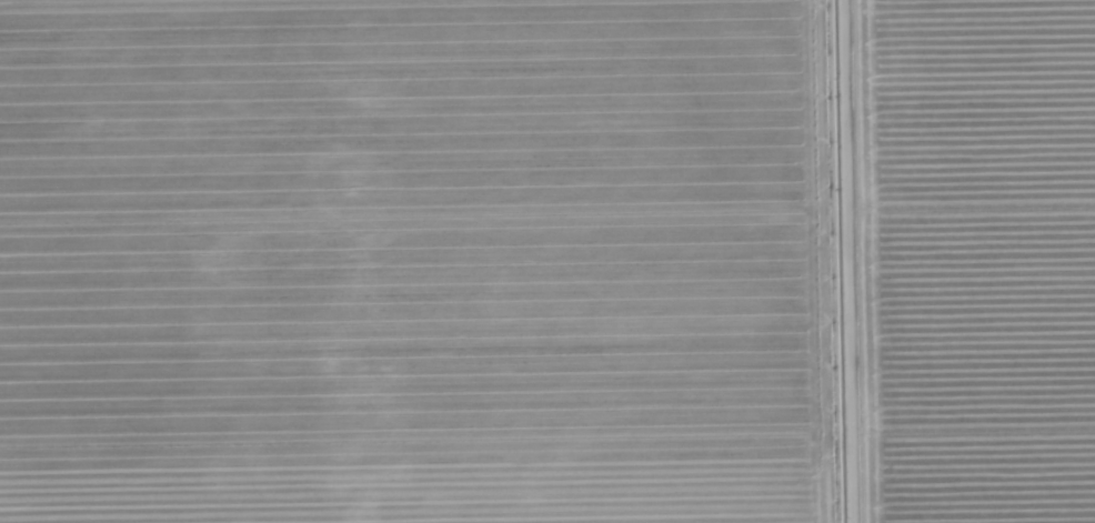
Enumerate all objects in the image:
crop: (420, 262)

